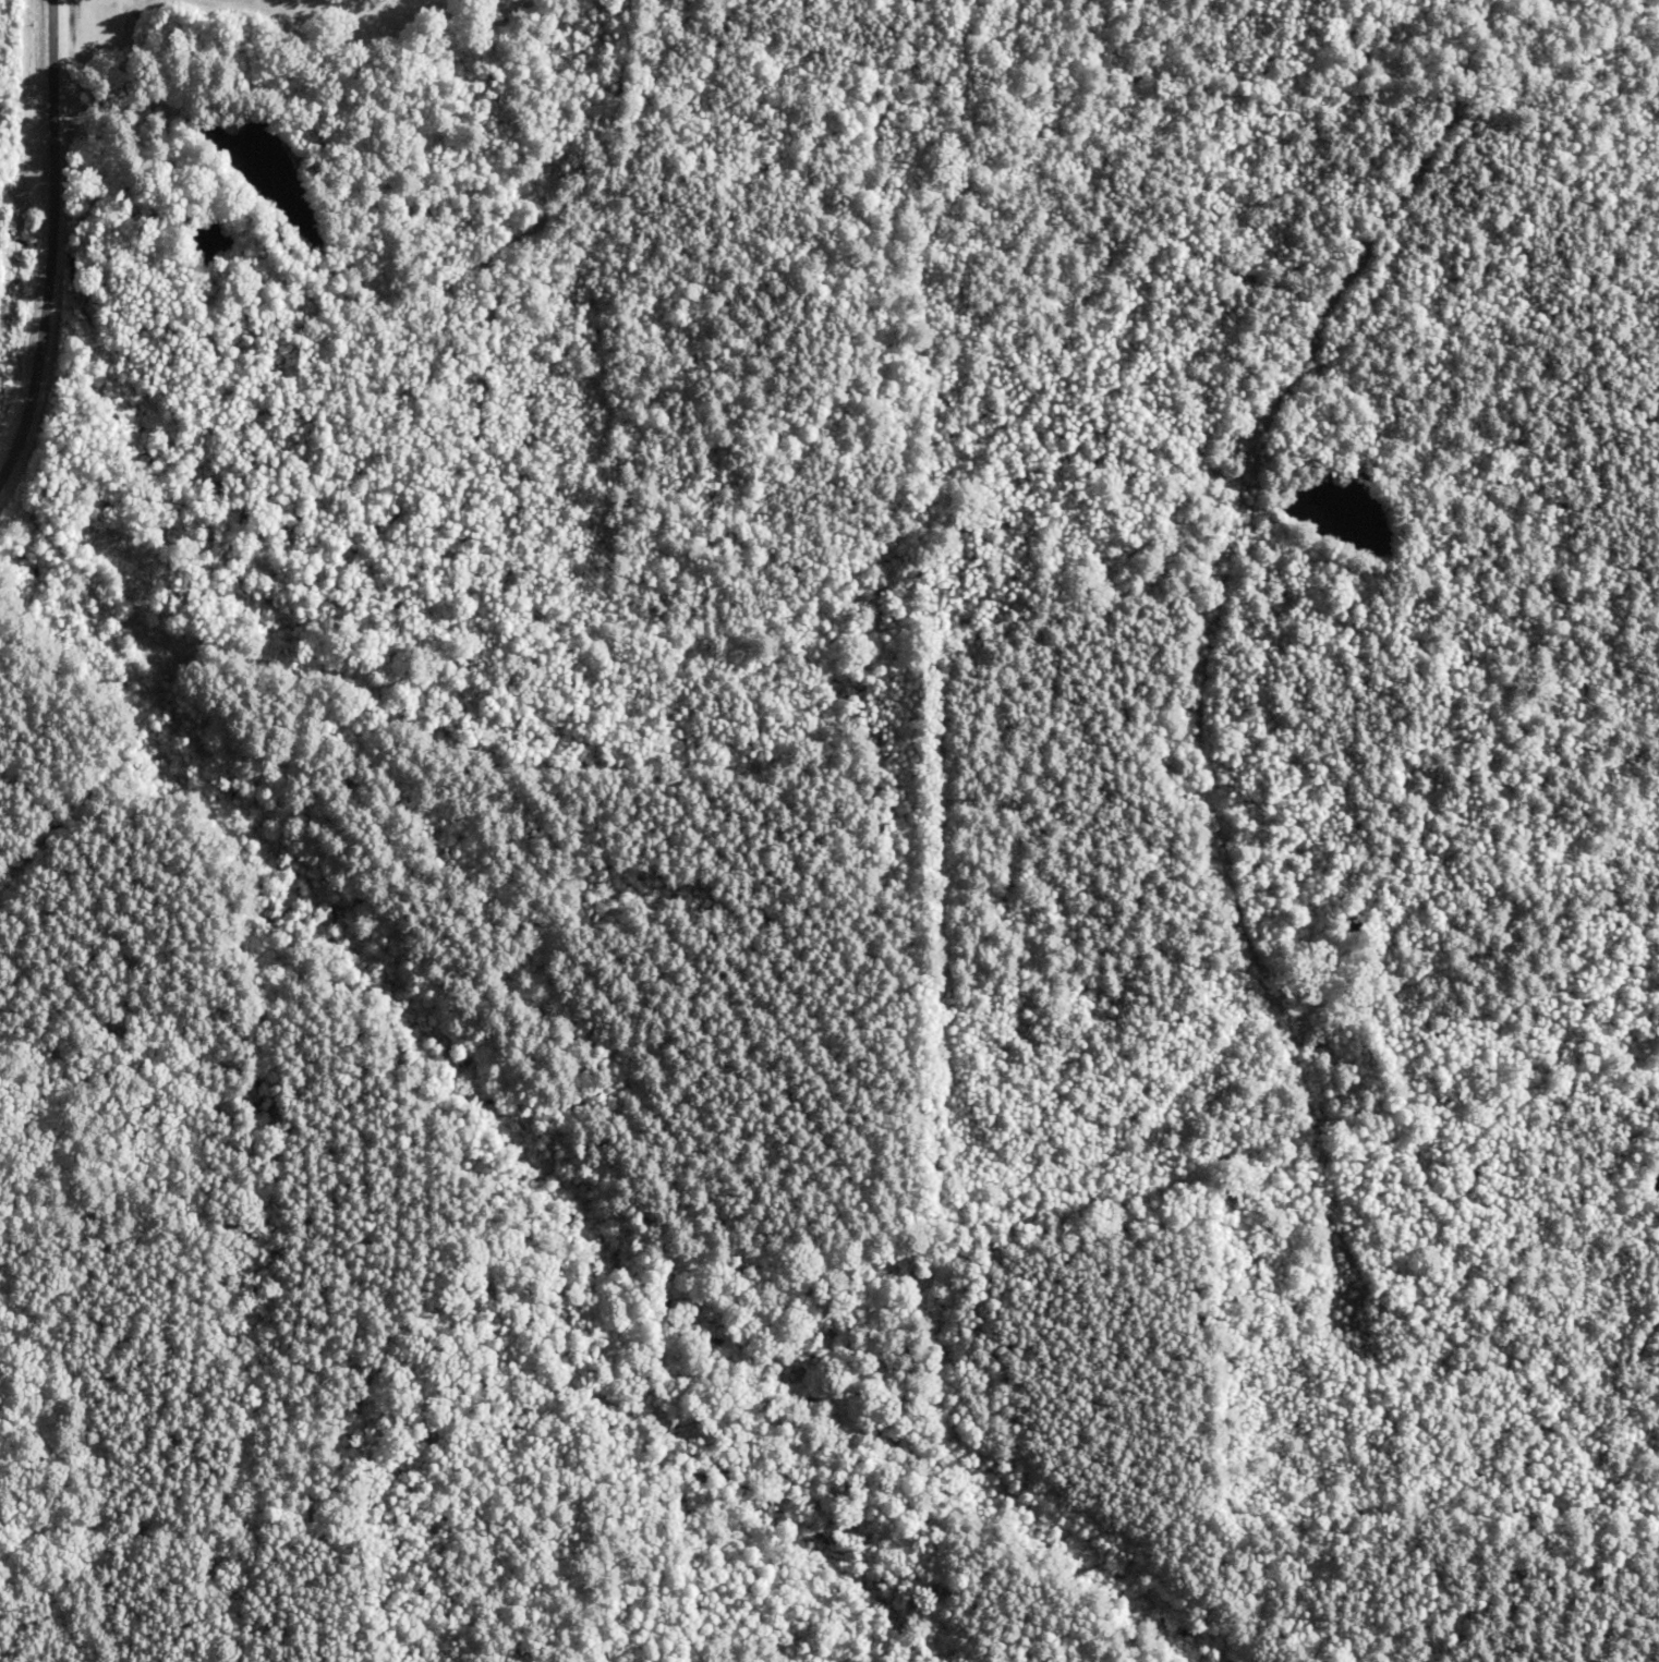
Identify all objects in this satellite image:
road: (36, 235)

